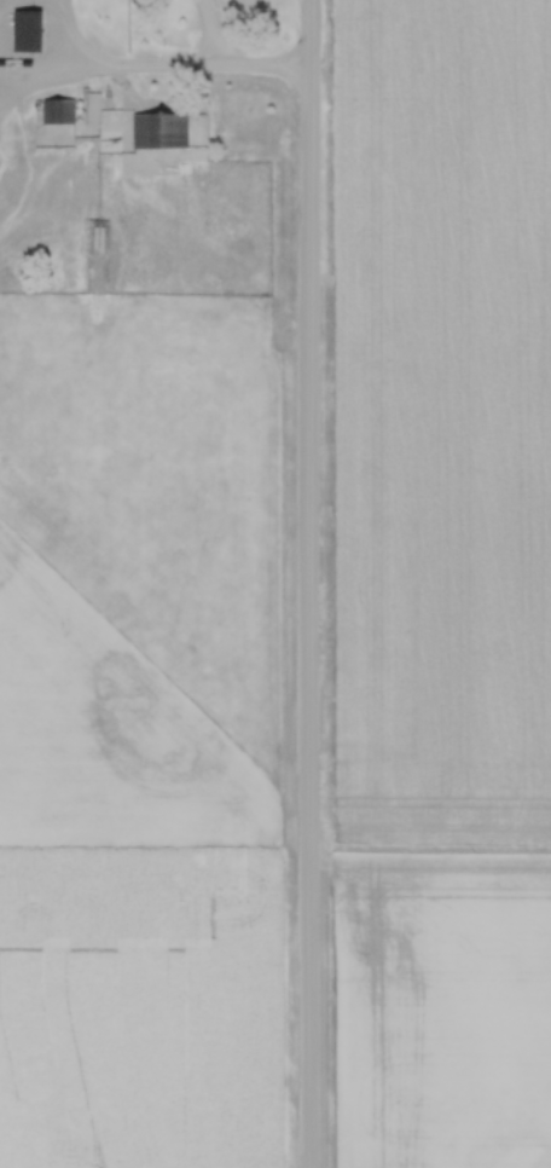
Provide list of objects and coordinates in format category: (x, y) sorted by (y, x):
building: (22, 30)
road: (170, 71)
building: (54, 110)
building: (156, 128)
road: (307, 583)

